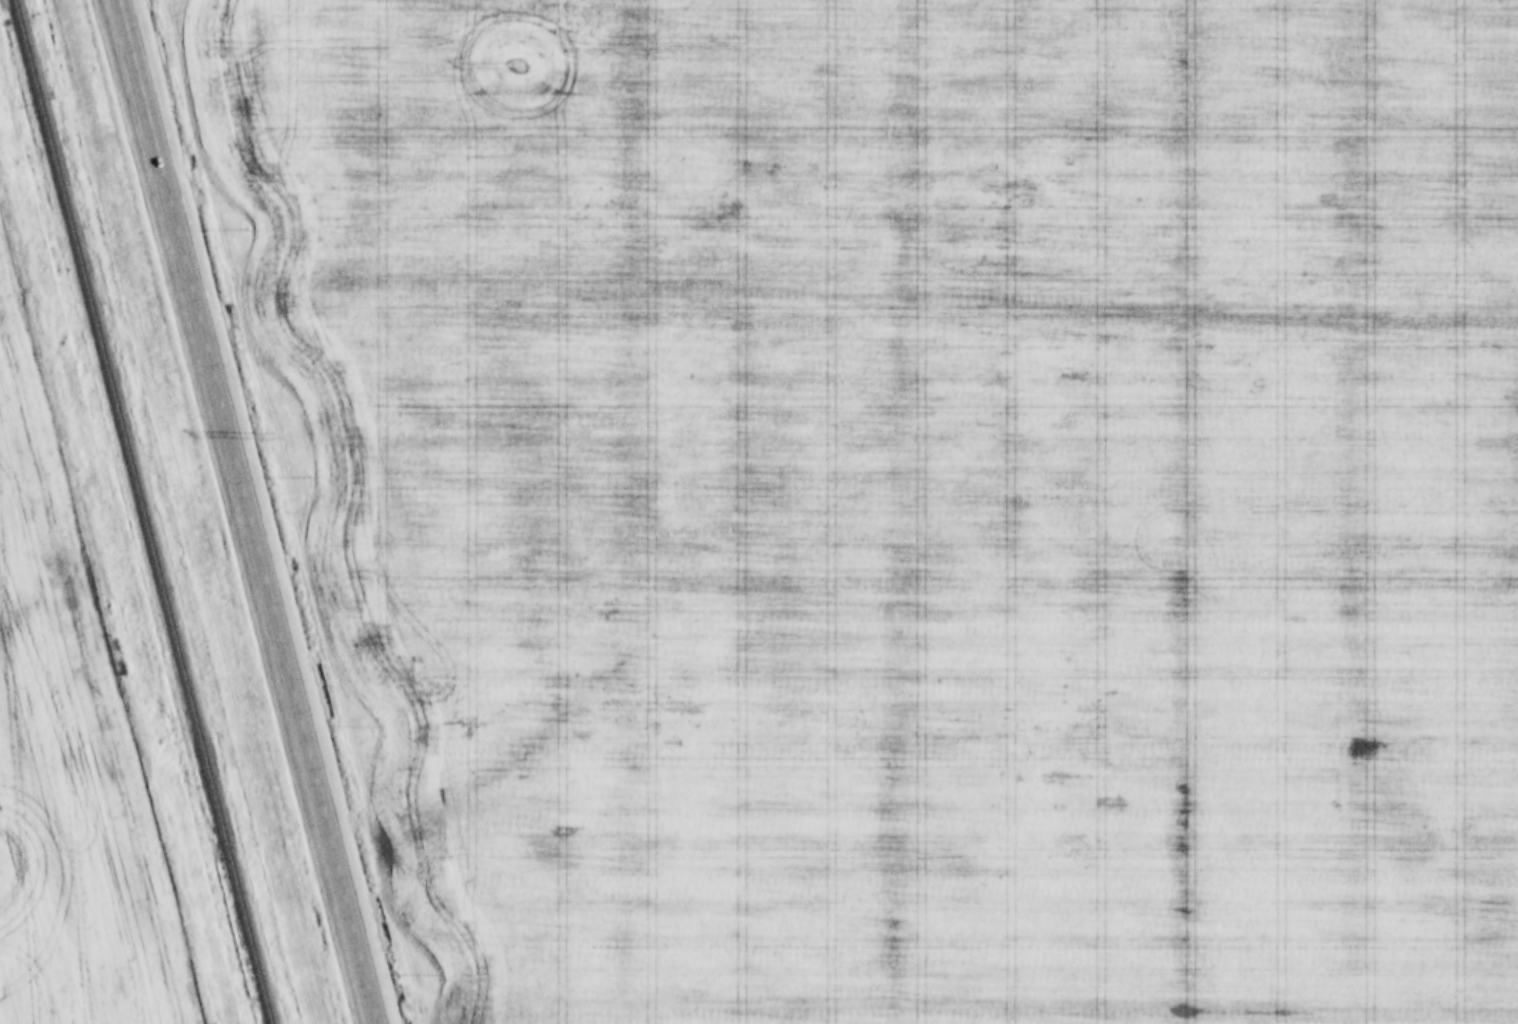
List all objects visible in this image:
power tower: (535, 64)
power tower: (292, 432)
railway: (139, 512)
road: (250, 512)

